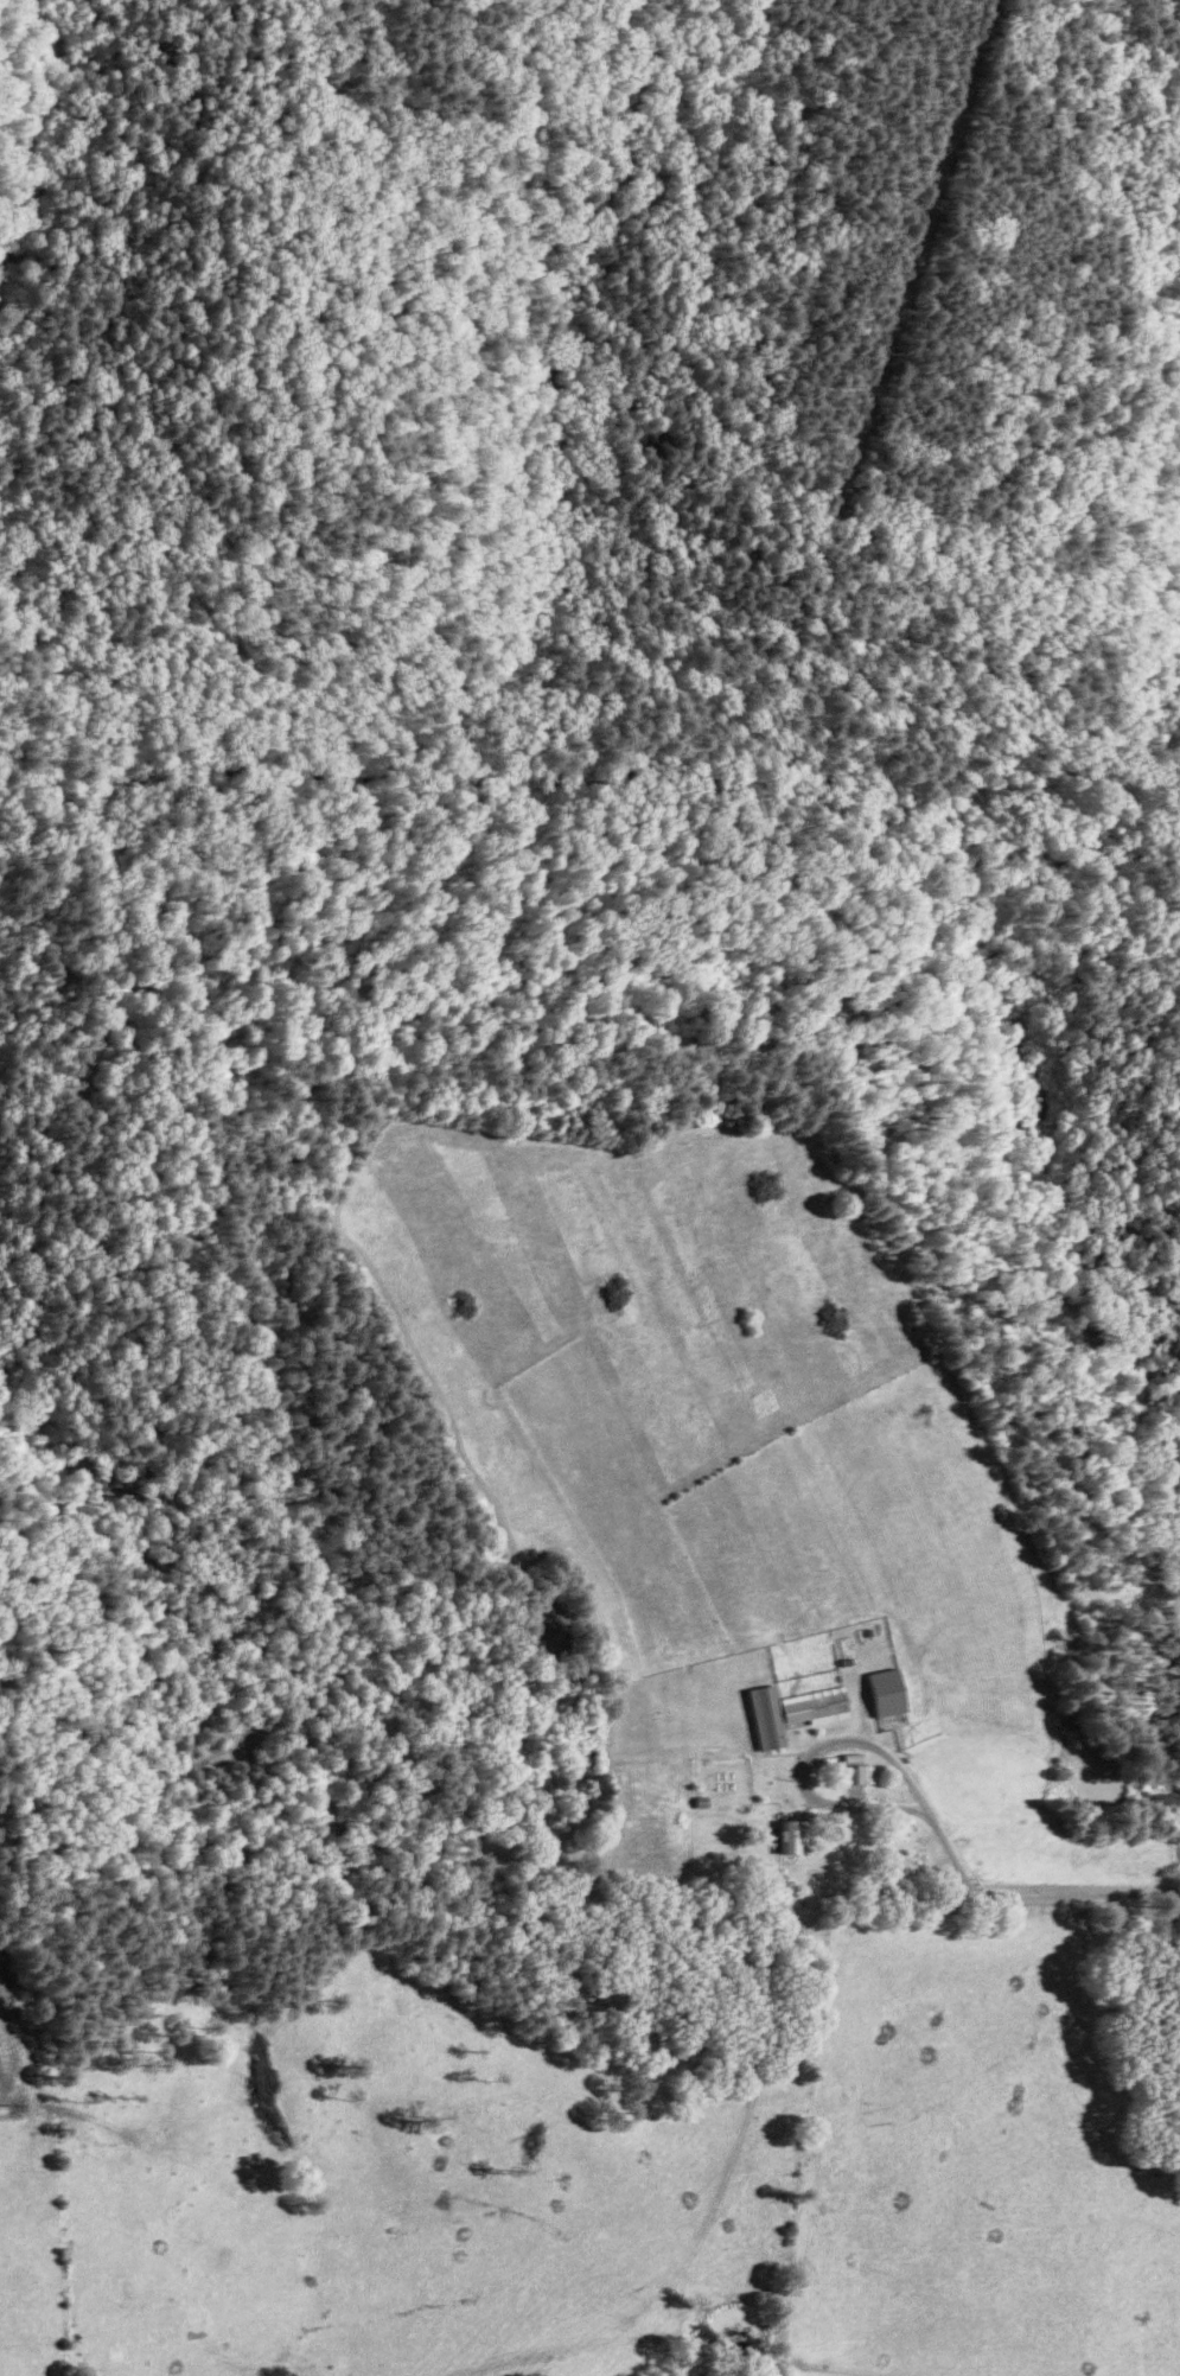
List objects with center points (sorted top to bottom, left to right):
building: (892, 1690)
building: (819, 1705)
building: (773, 1715)
road: (844, 1735)
building: (861, 1772)
building: (797, 1836)
road: (1026, 1896)

